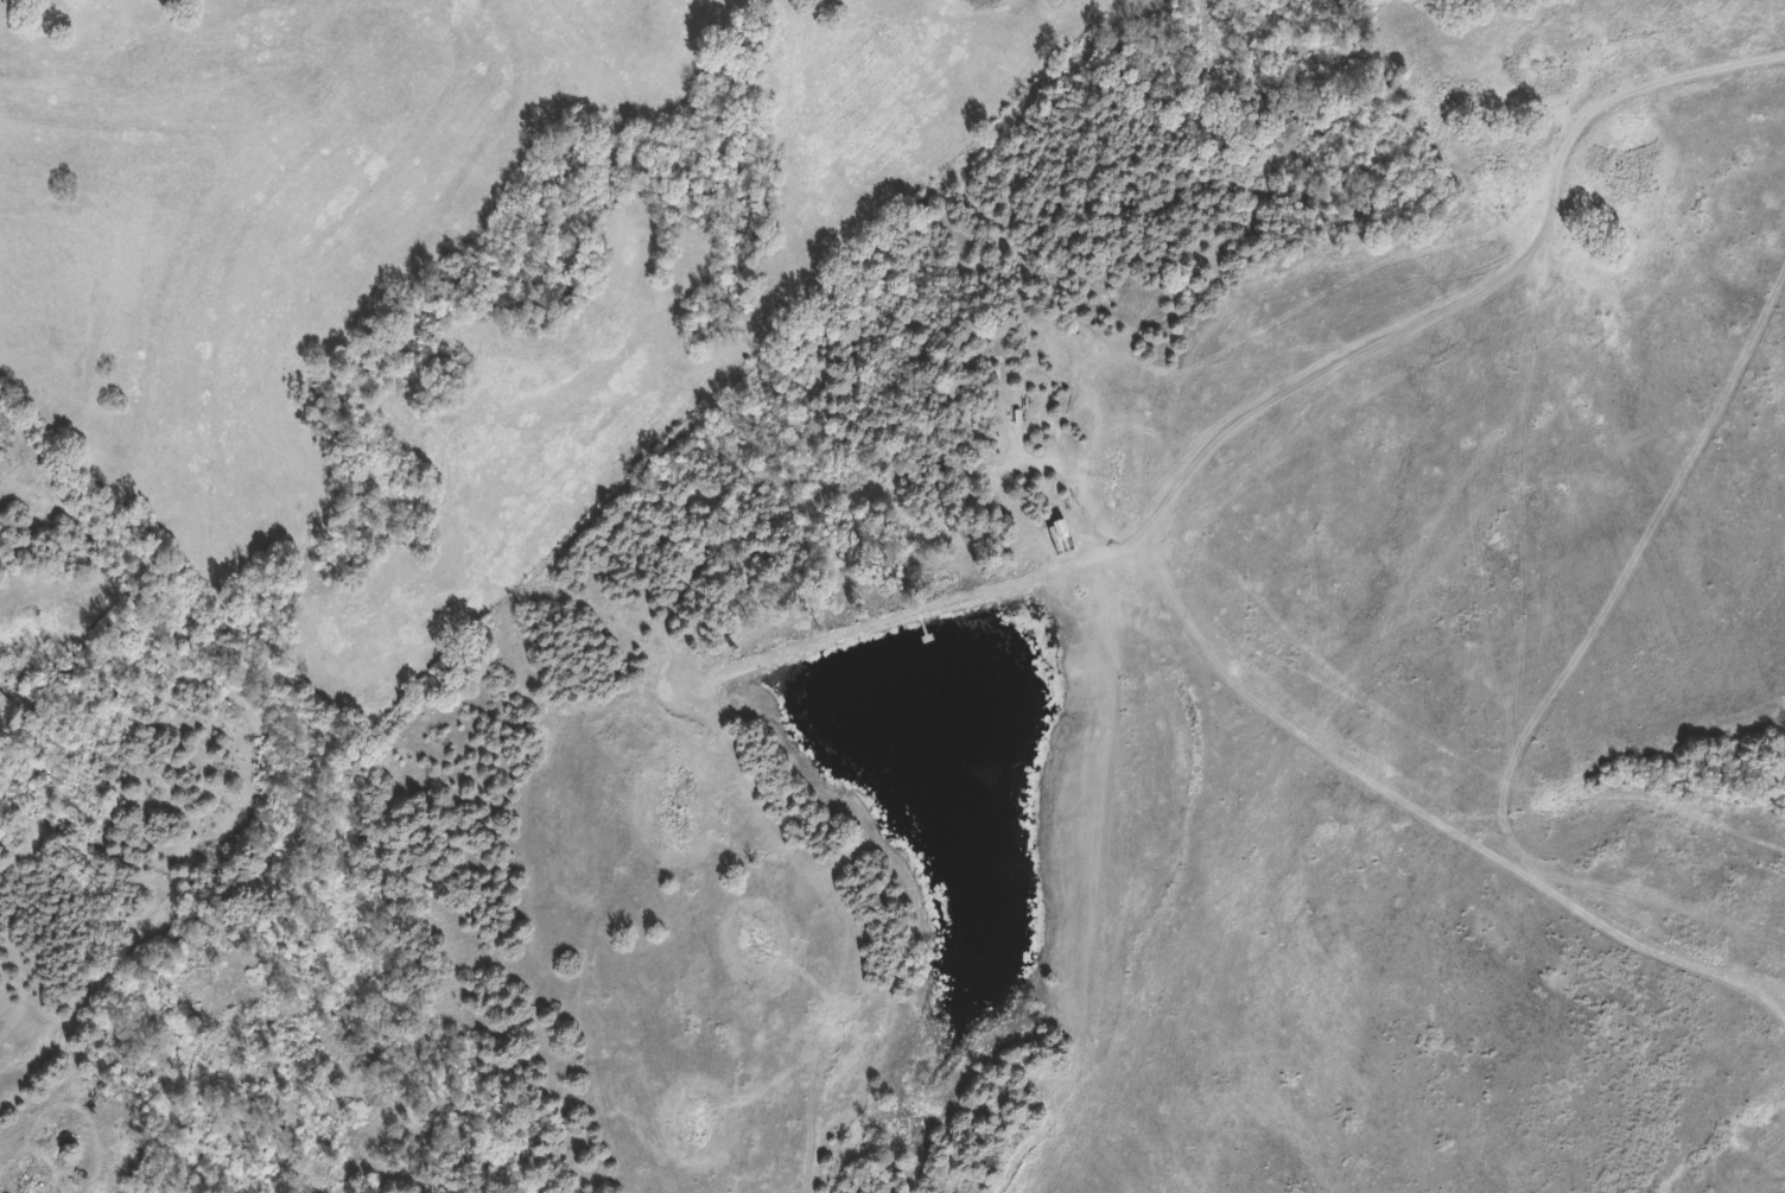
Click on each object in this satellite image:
road: (1456, 310)
building: (2, 705)

